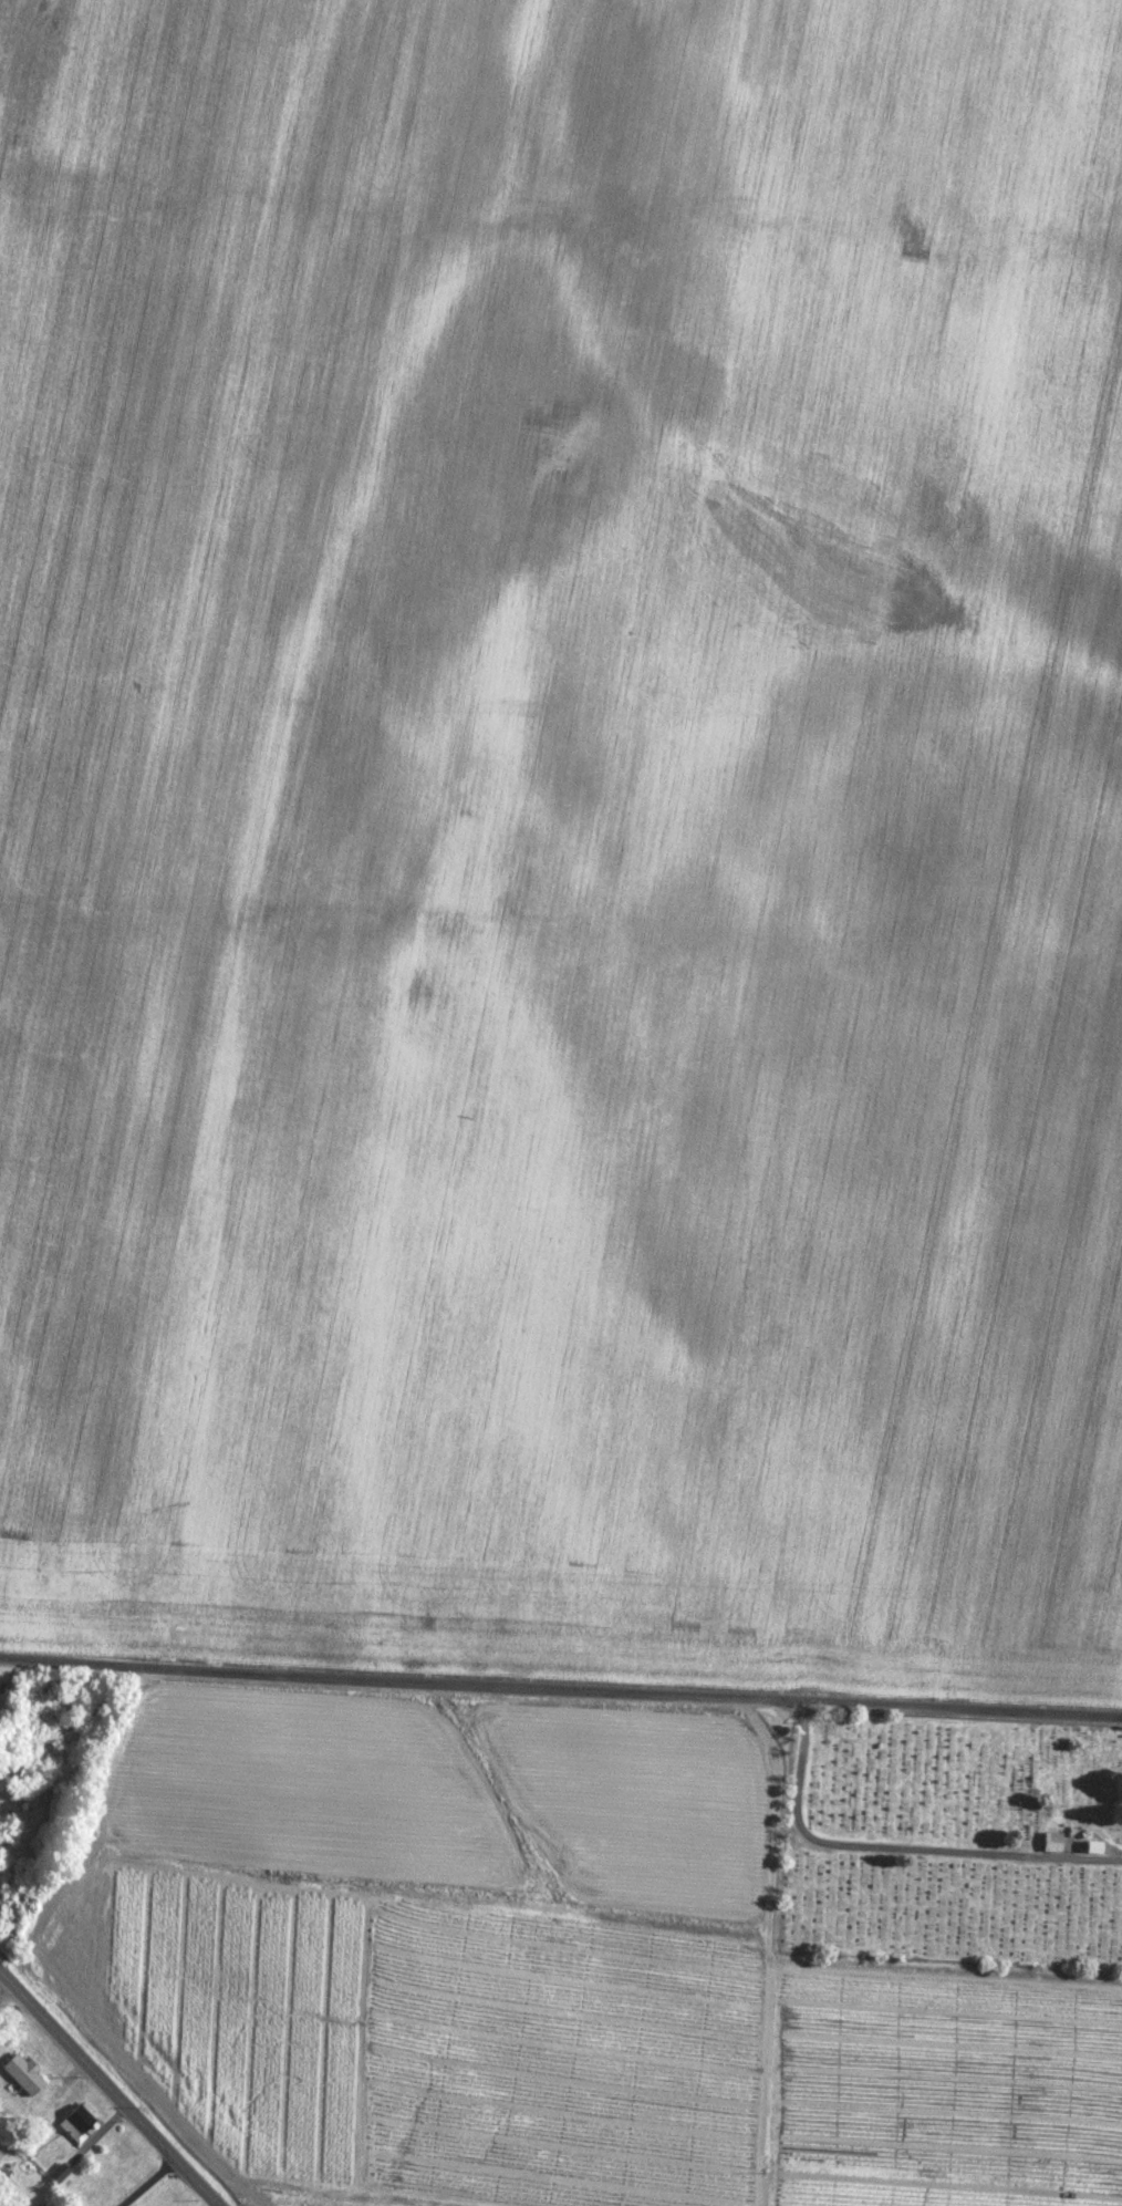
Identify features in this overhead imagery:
crop: (552, 1049)
road: (561, 1690)
building: (9, 1762)
building: (1052, 1840)
road: (890, 1853)
building: (22, 2071)
road: (113, 2085)
building: (76, 2120)
building: (45, 2205)

